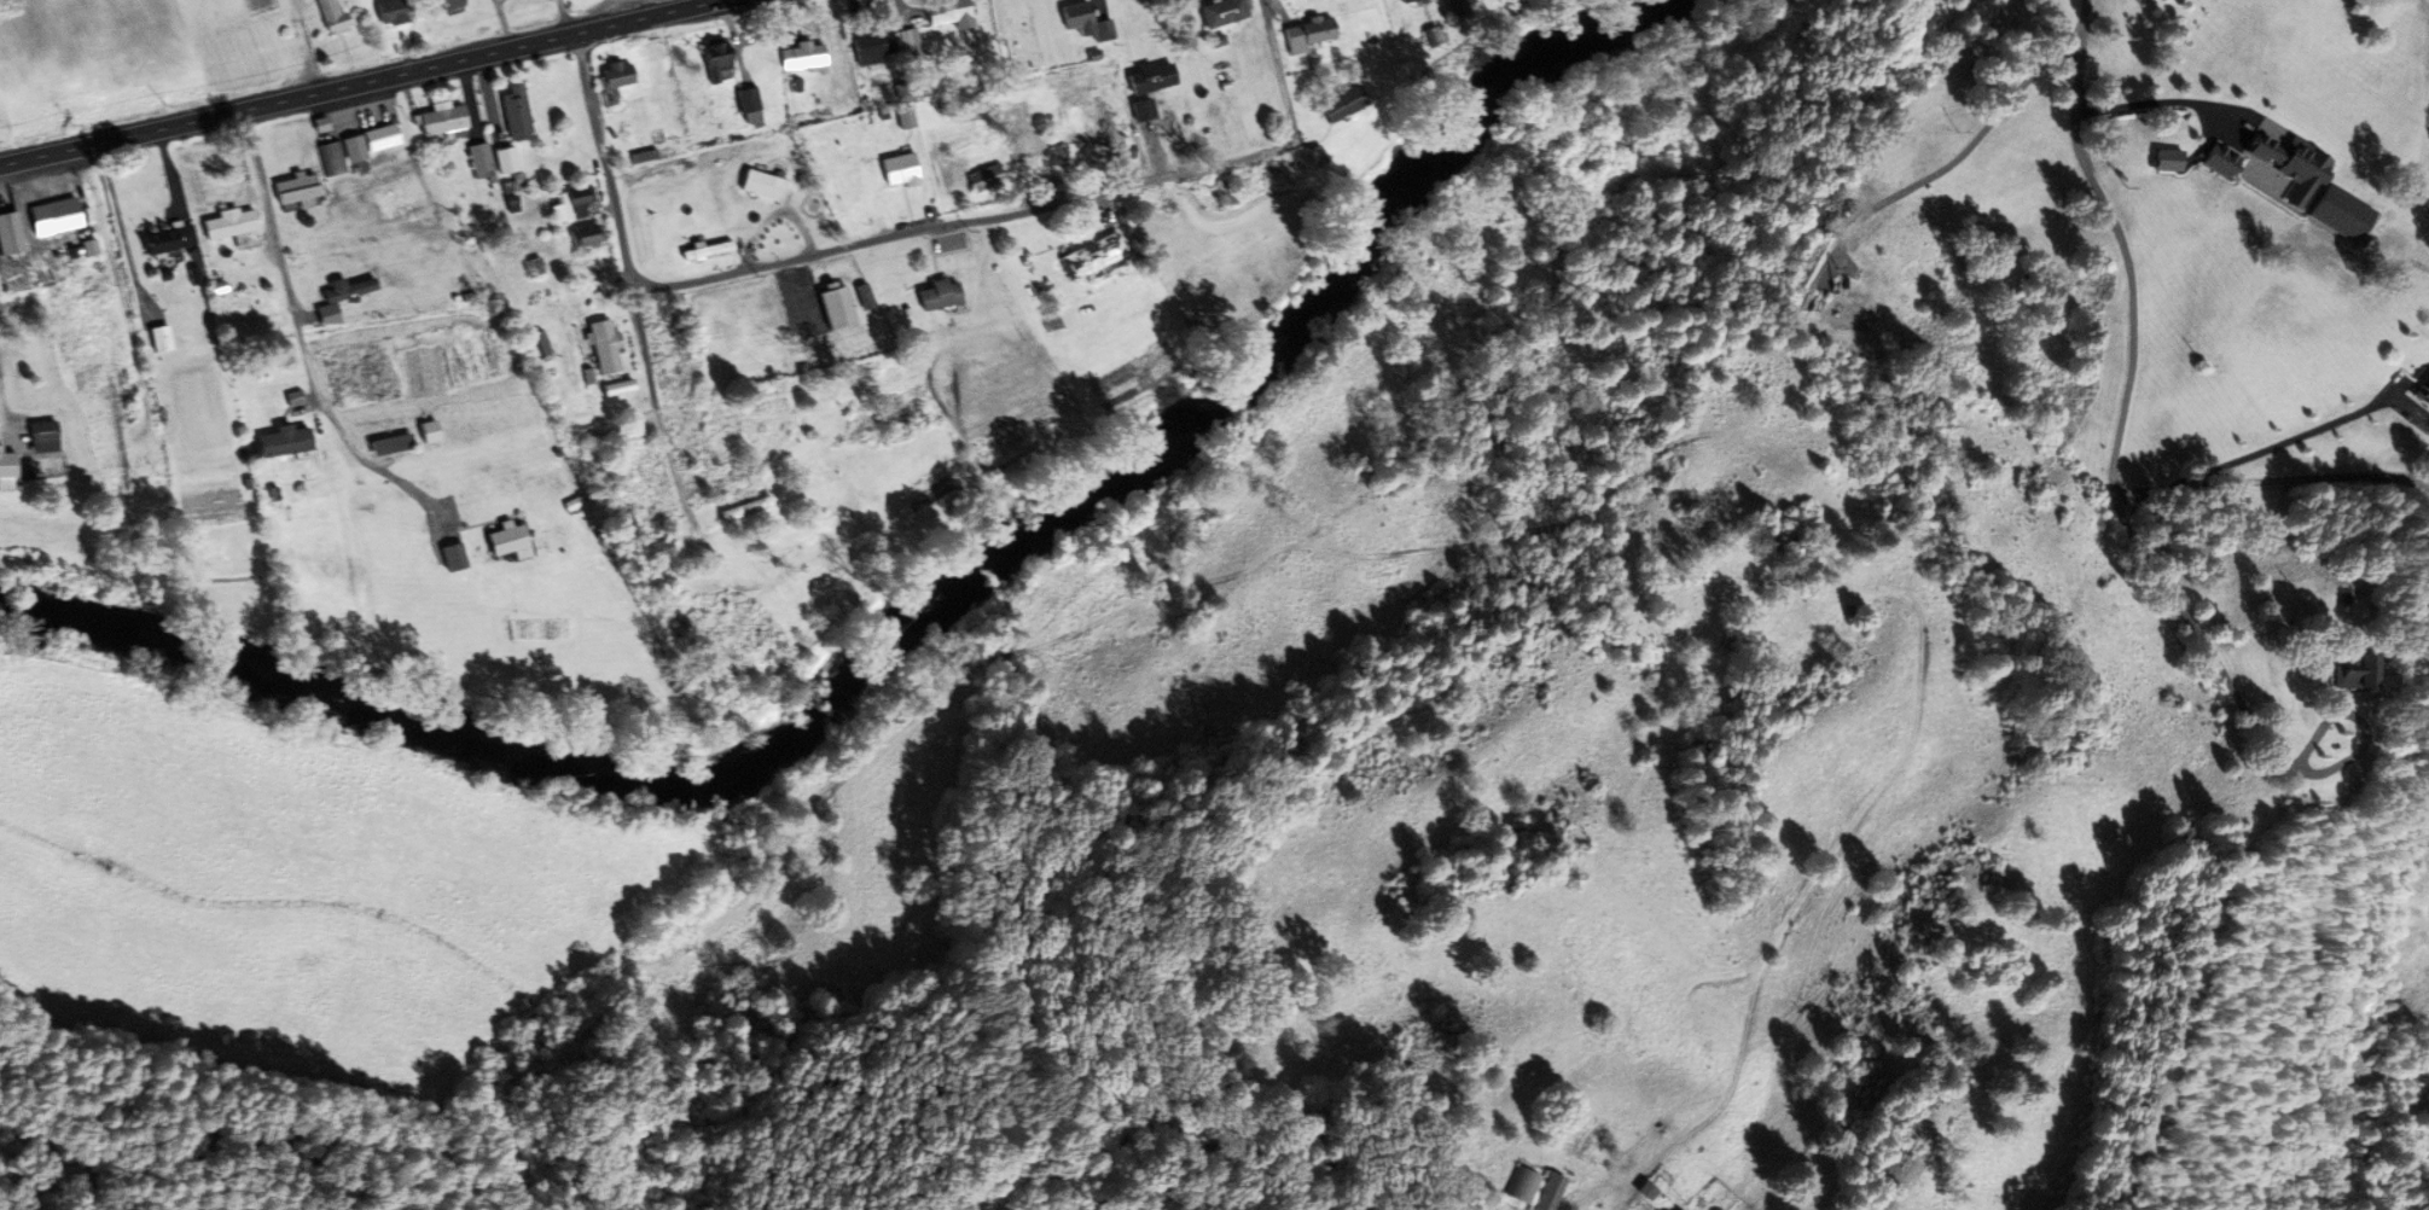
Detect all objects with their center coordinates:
building: (260, 6)
building: (409, 10)
building: (1221, 12)
building: (946, 13)
road: (565, 14)
building: (330, 16)
building: (1083, 22)
building: (1306, 34)
building: (1433, 36)
building: (871, 45)
building: (803, 57)
building: (713, 58)
building: (614, 77)
building: (1149, 78)
road: (355, 82)
road: (2154, 101)
building: (746, 104)
building: (1341, 104)
building: (1141, 110)
building: (512, 114)
building: (440, 121)
building: (378, 138)
building: (651, 155)
building: (331, 158)
road: (606, 159)
road: (1947, 159)
building: (478, 161)
building: (1021, 161)
building: (2166, 161)
building: (2286, 161)
building: (896, 170)
building: (989, 176)
building: (759, 185)
building: (852, 185)
building: (292, 191)
building: (573, 203)
road: (1047, 204)
building: (232, 228)
building: (6, 233)
building: (583, 237)
building: (165, 239)
road: (2123, 242)
building: (1089, 255)
building: (531, 268)
building: (79, 273)
building: (935, 295)
building: (861, 296)
building: (337, 298)
building: (832, 309)
building: (1836, 312)
building: (157, 339)
road: (302, 341)
building: (600, 348)
building: (2422, 391)
building: (271, 392)
road: (657, 405)
building: (425, 432)
building: (693, 434)
building: (40, 437)
road: (2278, 442)
building: (5, 469)
road: (2272, 479)
building: (742, 508)
building: (502, 540)
building: (657, 551)
building: (451, 557)
river: (911, 630)
building: (2336, 673)
road: (2255, 731)
building: (1532, 1188)
building: (1666, 1209)

